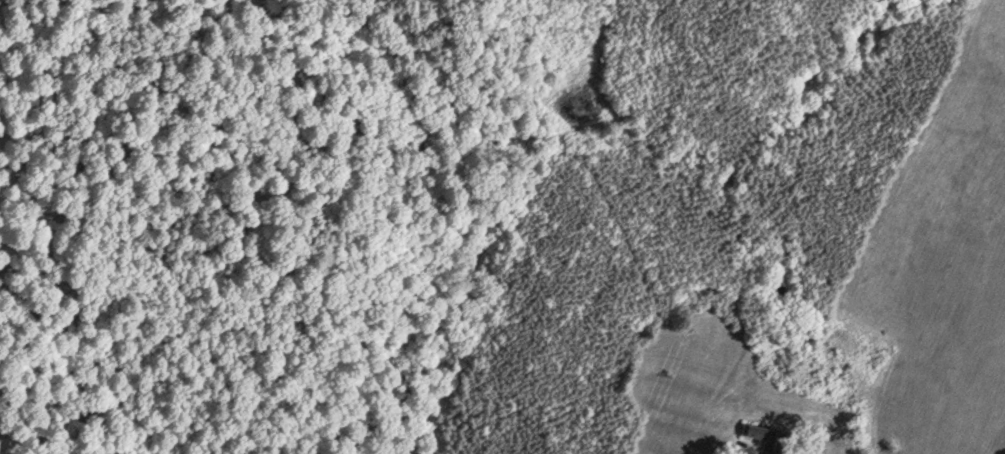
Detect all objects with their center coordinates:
building: (750, 429)

